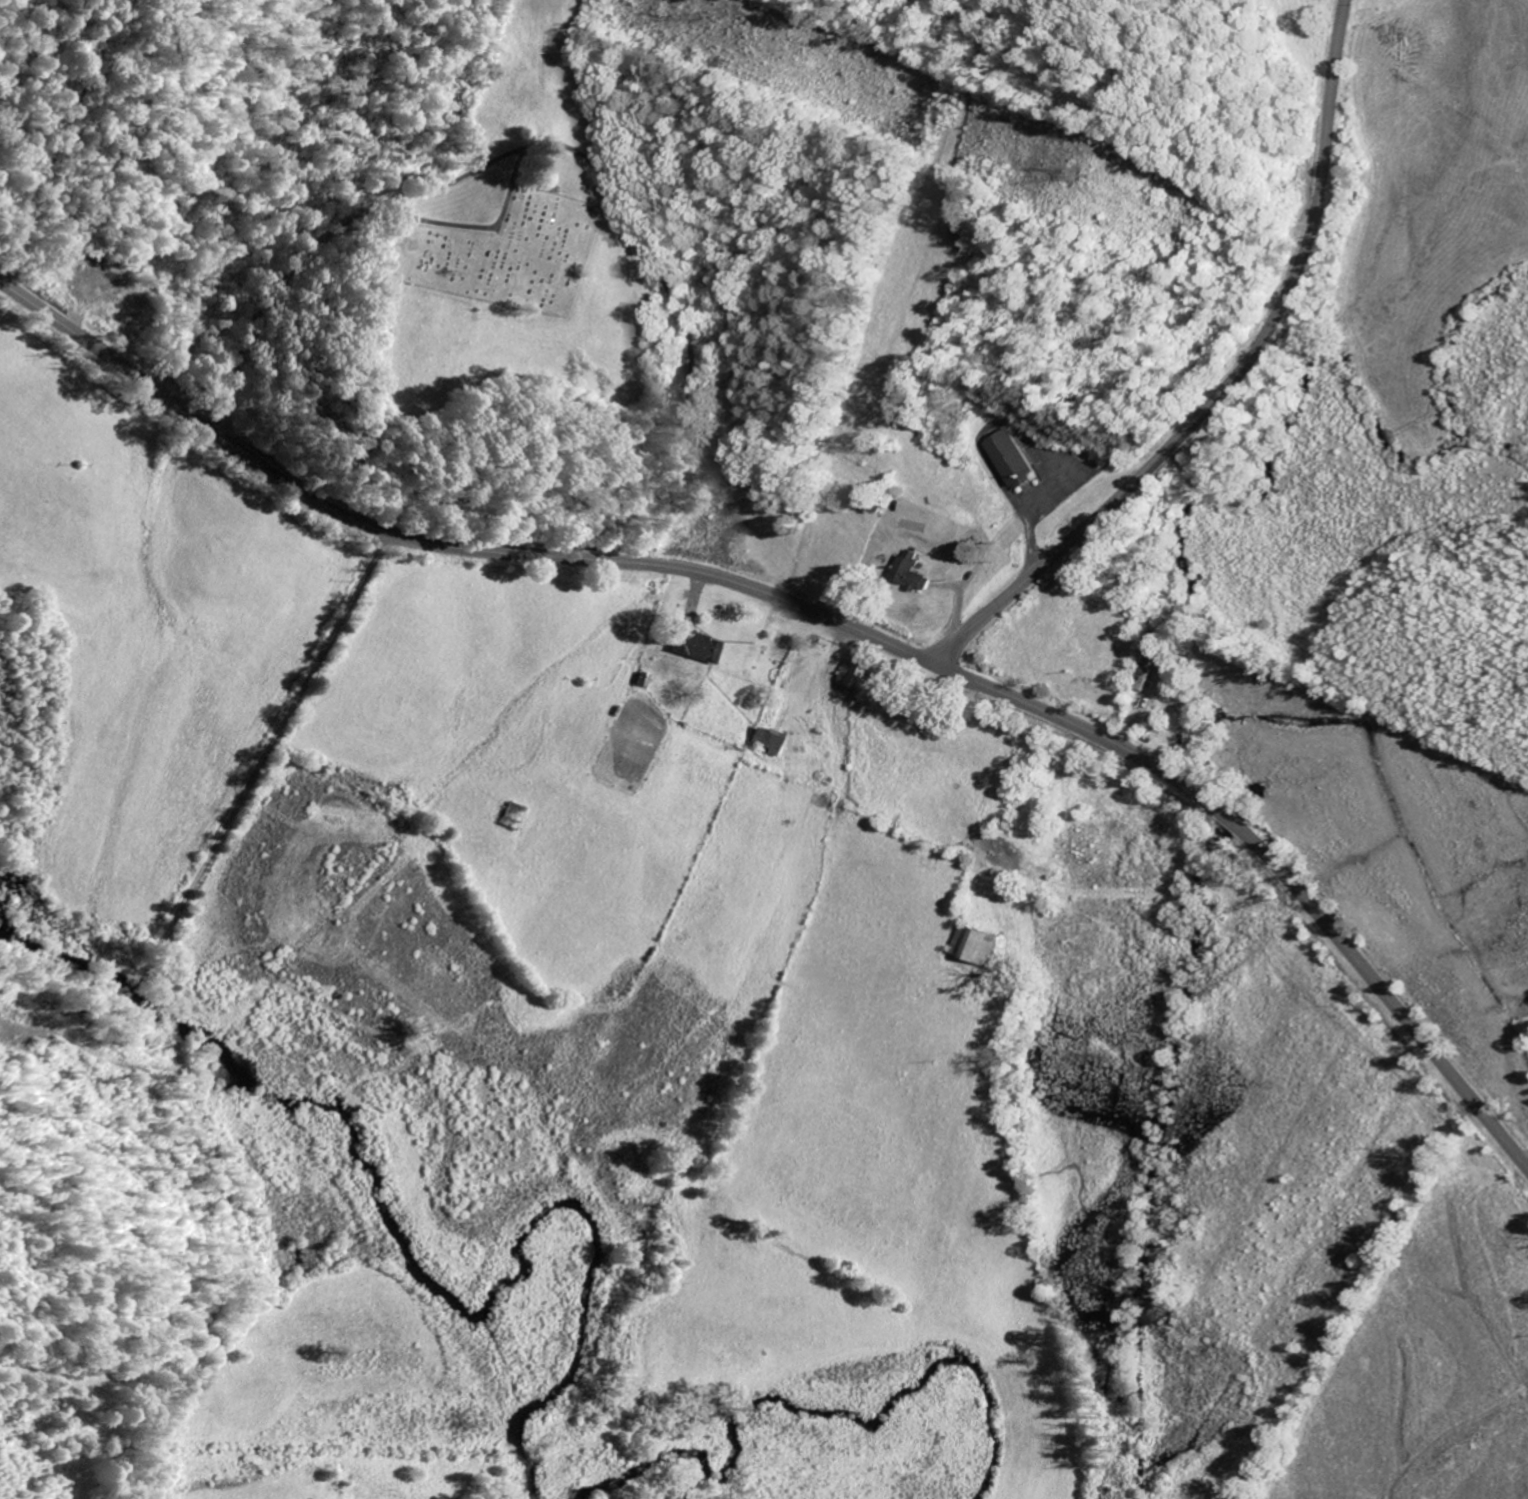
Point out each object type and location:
road: (592, 164)
road: (1222, 382)
building: (1012, 460)
road: (644, 544)
building: (912, 574)
road: (827, 618)
building: (700, 646)
building: (1151, 664)
building: (771, 741)
building: (514, 816)
building: (984, 945)
road: (173, 1012)

